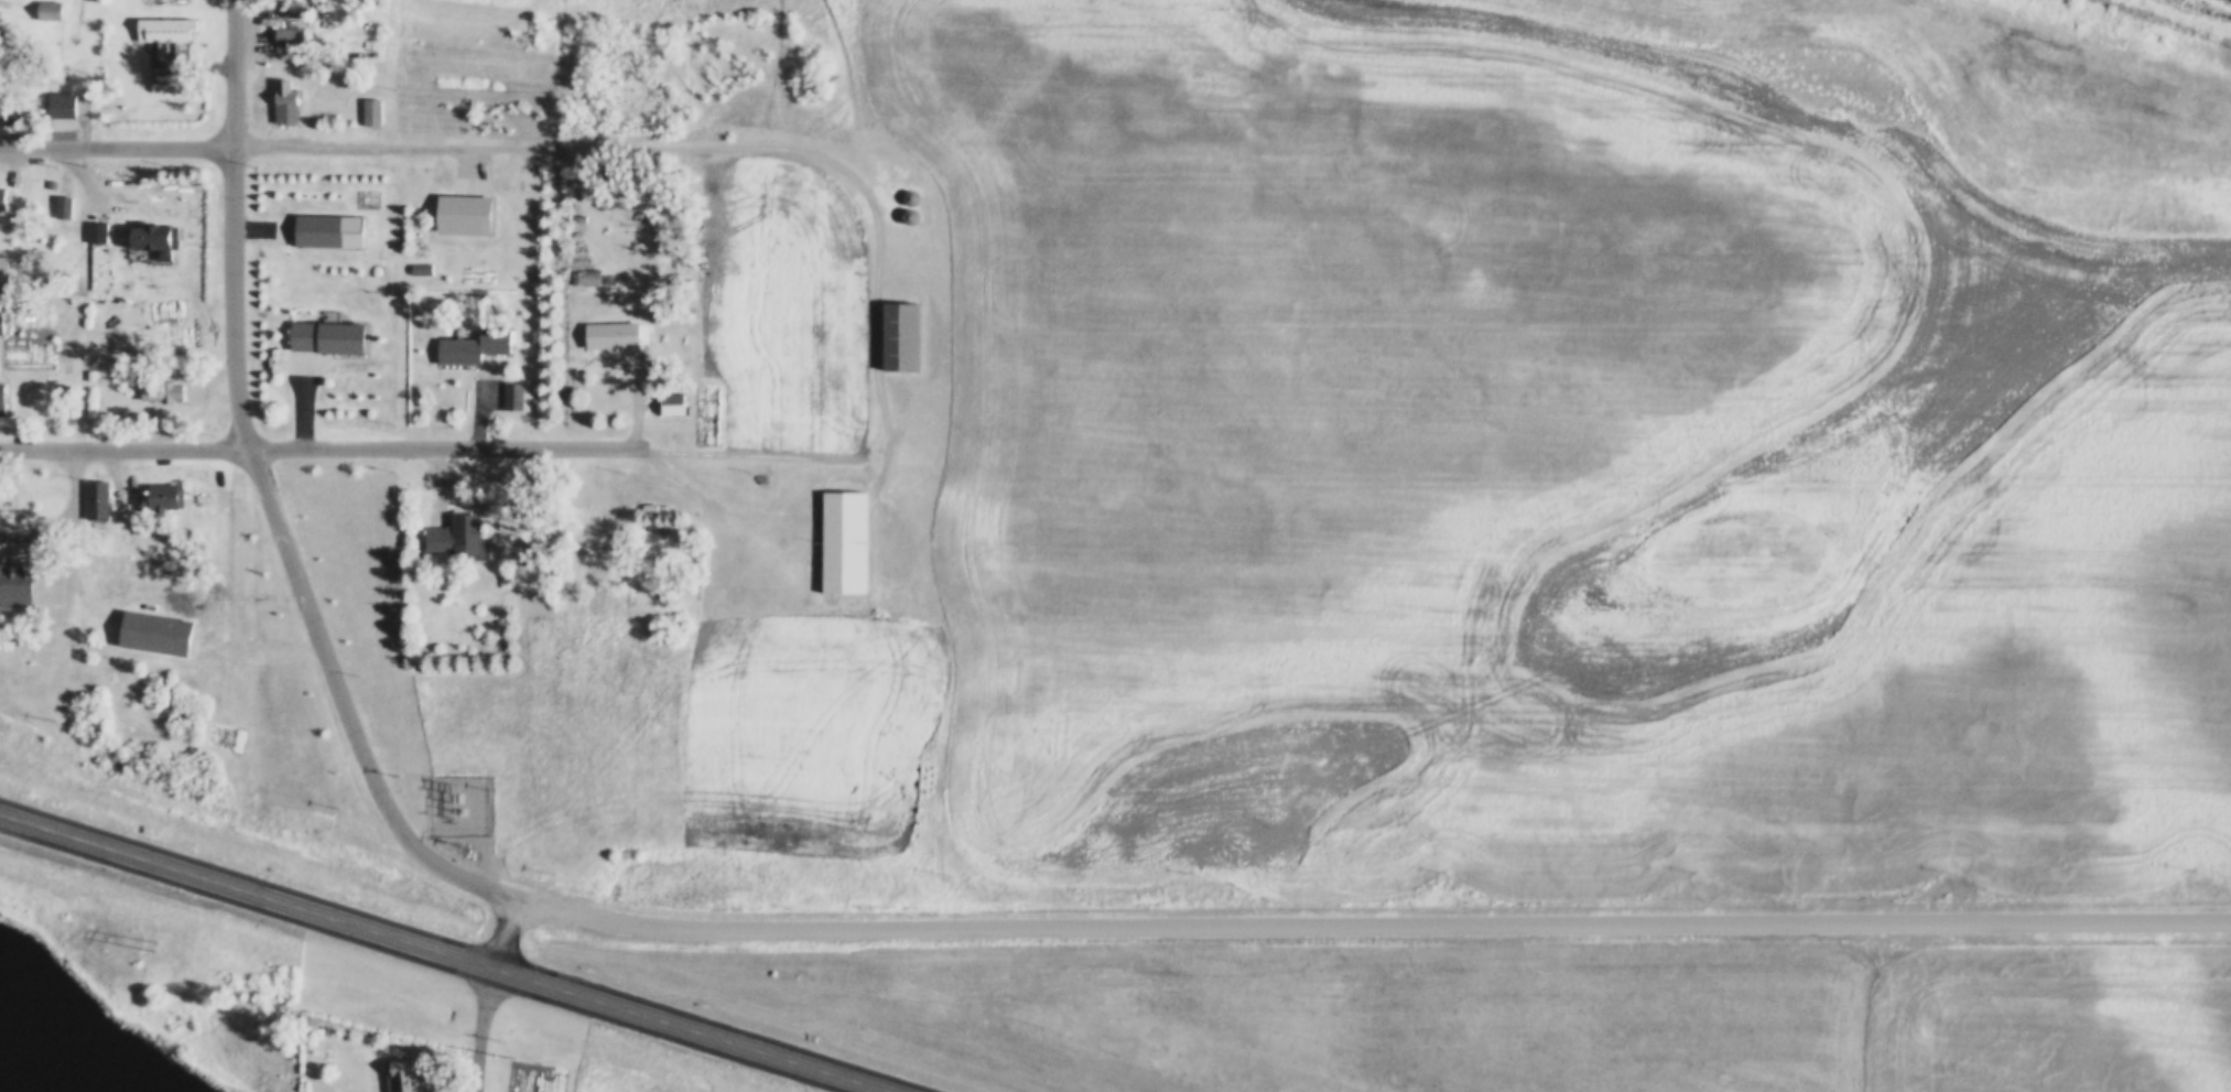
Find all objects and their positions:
building: (41, 2)
building: (293, 9)
building: (50, 11)
building: (156, 15)
building: (280, 26)
building: (166, 30)
building: (357, 36)
building: (290, 41)
building: (155, 58)
building: (279, 90)
building: (52, 93)
building: (364, 100)
building: (66, 104)
building: (288, 105)
building: (4, 107)
building: (372, 113)
road: (117, 149)
road: (512, 149)
building: (901, 185)
silo: (901, 185)
building: (54, 195)
building: (4, 198)
building: (456, 203)
building: (900, 204)
silo: (900, 204)
building: (65, 208)
building: (320, 218)
building: (87, 219)
road: (235, 223)
building: (145, 227)
building: (100, 234)
building: (160, 238)
building: (412, 257)
building: (576, 264)
building: (425, 271)
building: (4, 275)
building: (587, 279)
building: (4, 322)
building: (603, 323)
building: (891, 324)
building: (318, 325)
building: (466, 332)
building: (616, 336)
building: (334, 338)
building: (498, 342)
building: (83, 363)
building: (153, 380)
building: (510, 383)
building: (663, 392)
building: (520, 398)
building: (4, 400)
building: (674, 404)
road: (890, 432)
road: (310, 443)
building: (152, 484)
building: (87, 488)
building: (164, 499)
building: (98, 500)
building: (450, 525)
building: (836, 530)
building: (459, 538)
building: (497, 564)
building: (11, 573)
building: (877, 597)
building: (145, 621)
road: (346, 700)
power substation: (452, 791)
road: (503, 928)
road: (1371, 929)
road: (454, 950)
road: (484, 1027)
building: (390, 1068)

